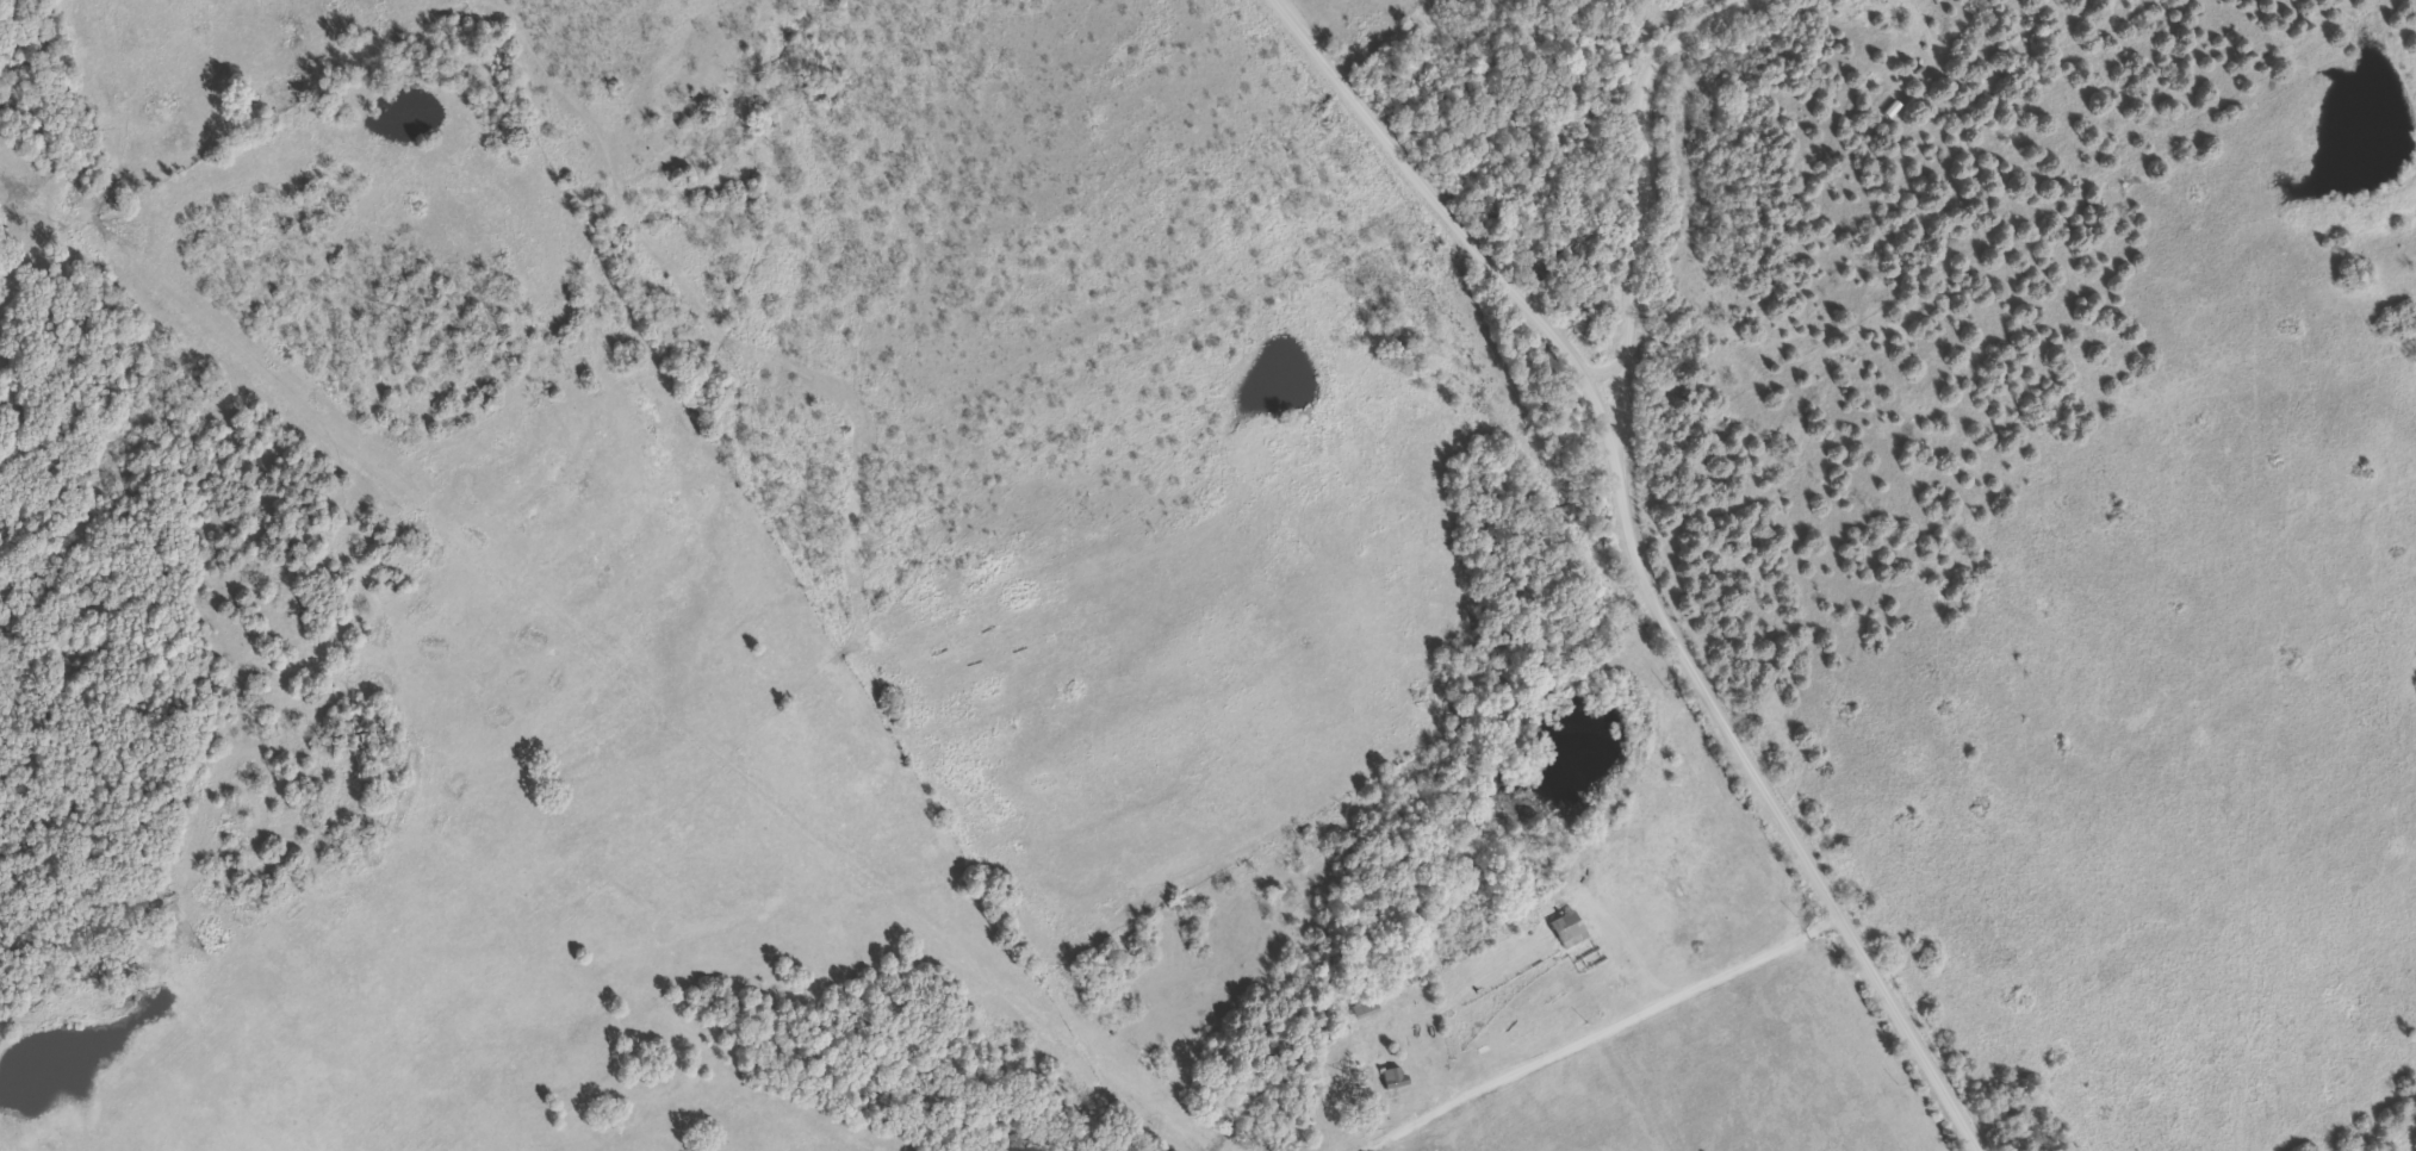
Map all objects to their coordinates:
road: (1650, 204)
road: (1640, 560)
building: (1571, 927)
building: (1368, 1007)
road: (1623, 1016)
building: (1396, 1076)

